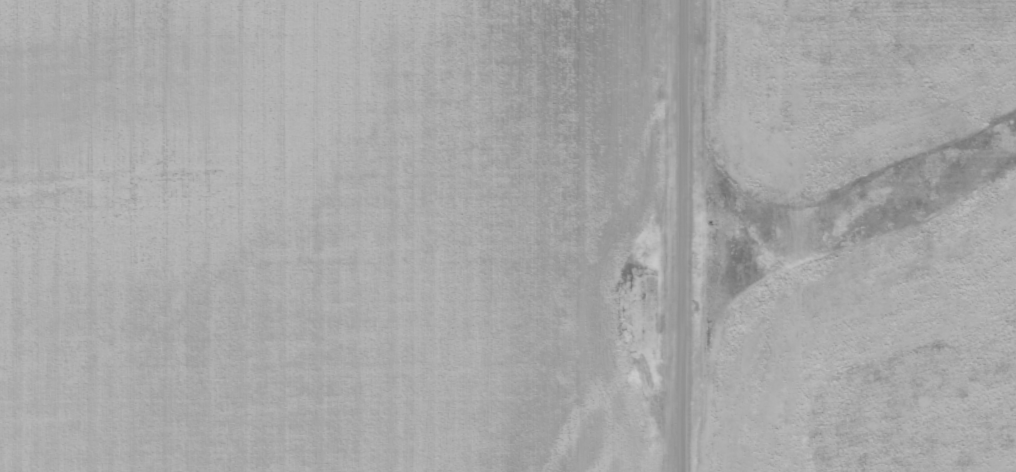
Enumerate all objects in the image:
road: (687, 236)

